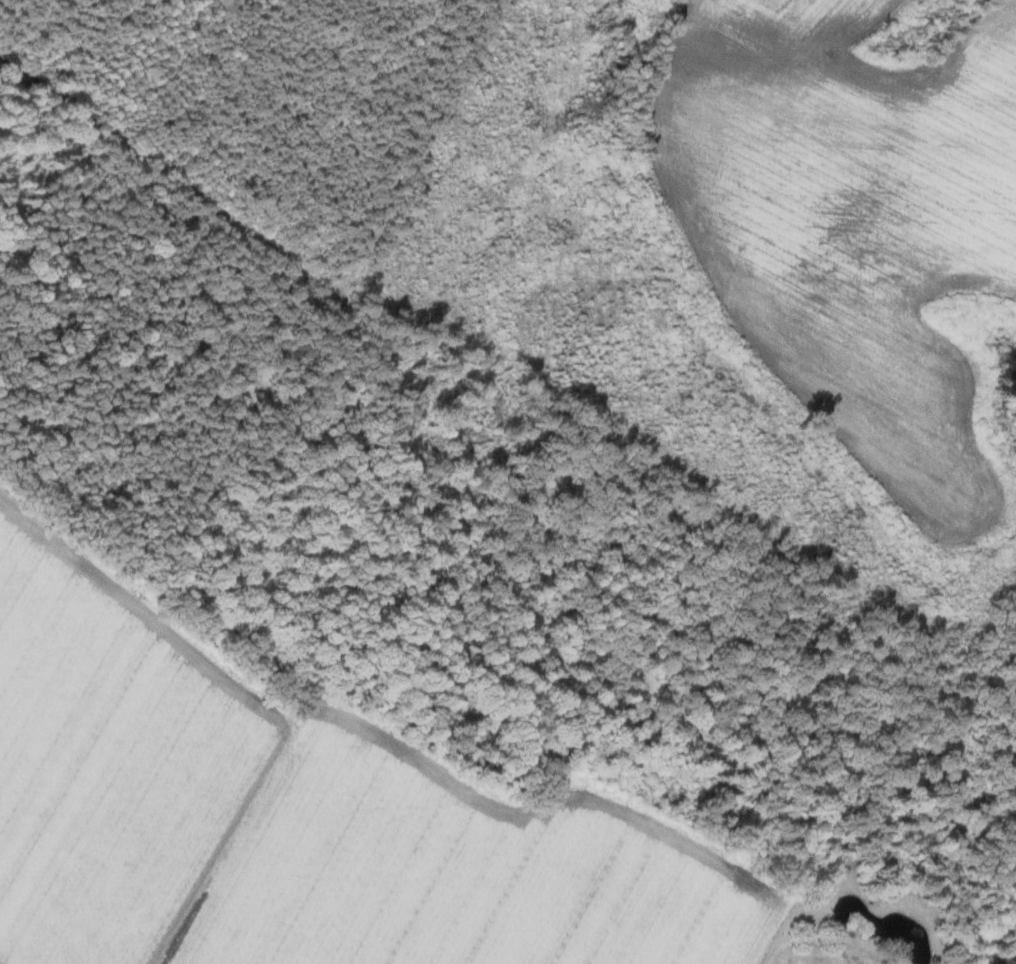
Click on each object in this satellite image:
road: (814, 937)

